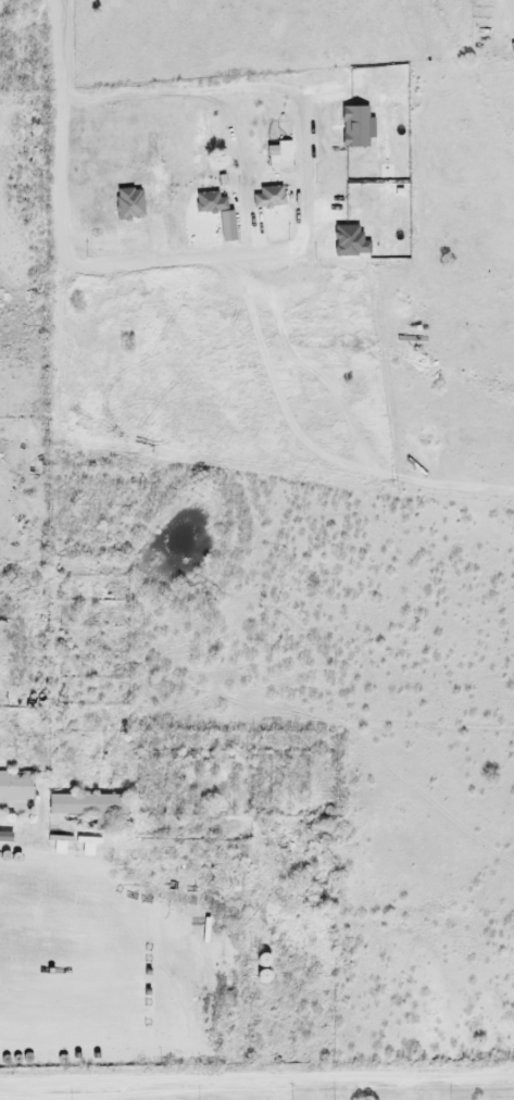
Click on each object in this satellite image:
building: (15, 793)
building: (86, 805)
road: (256, 1082)

